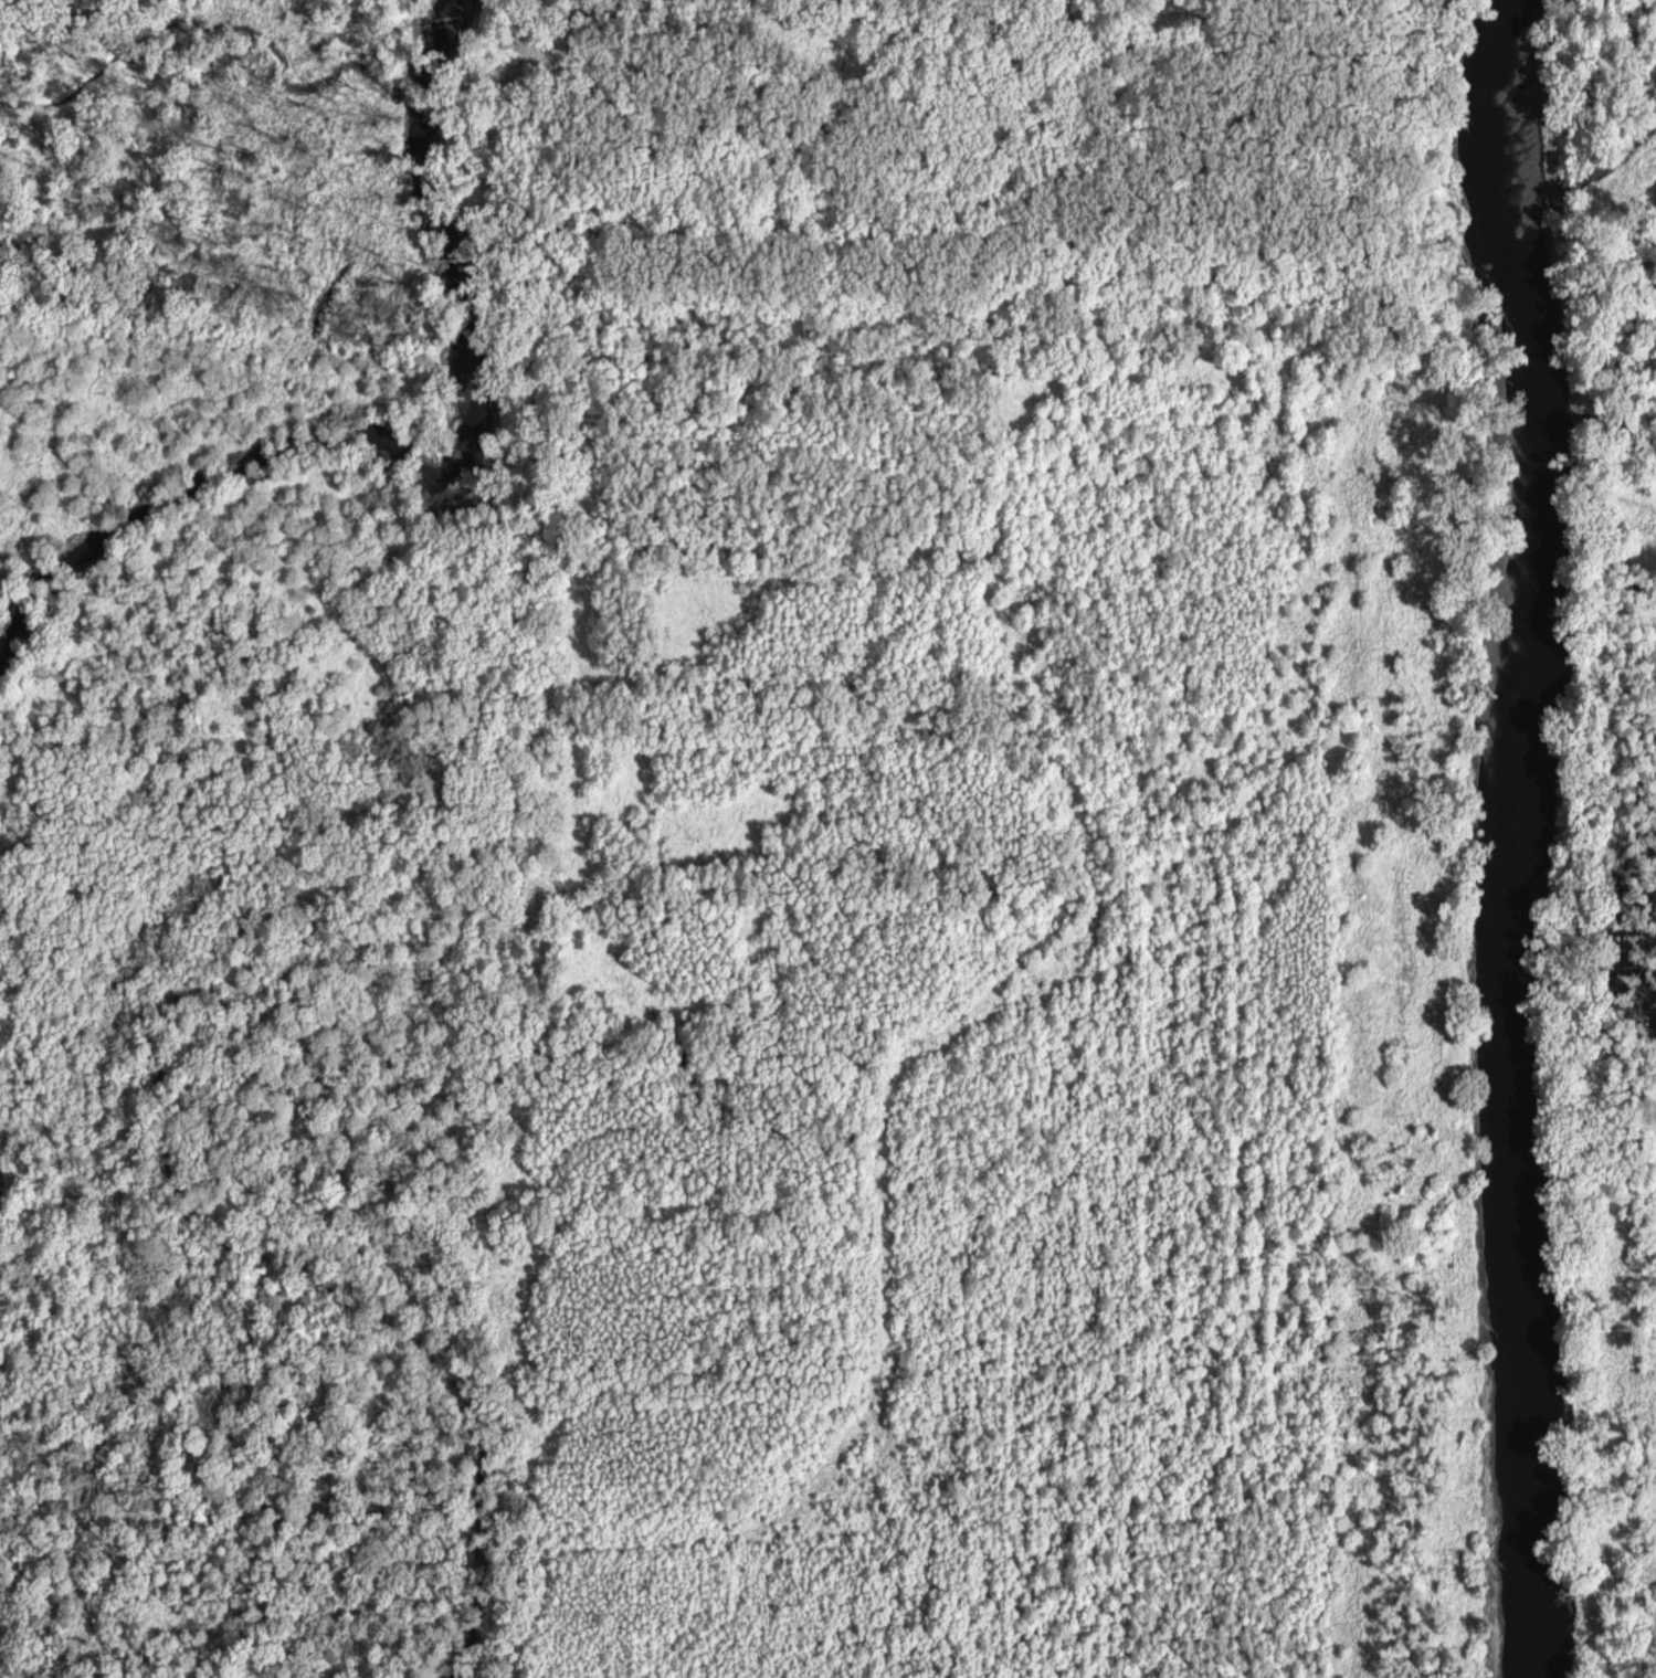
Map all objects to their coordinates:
river: (1511, 835)

